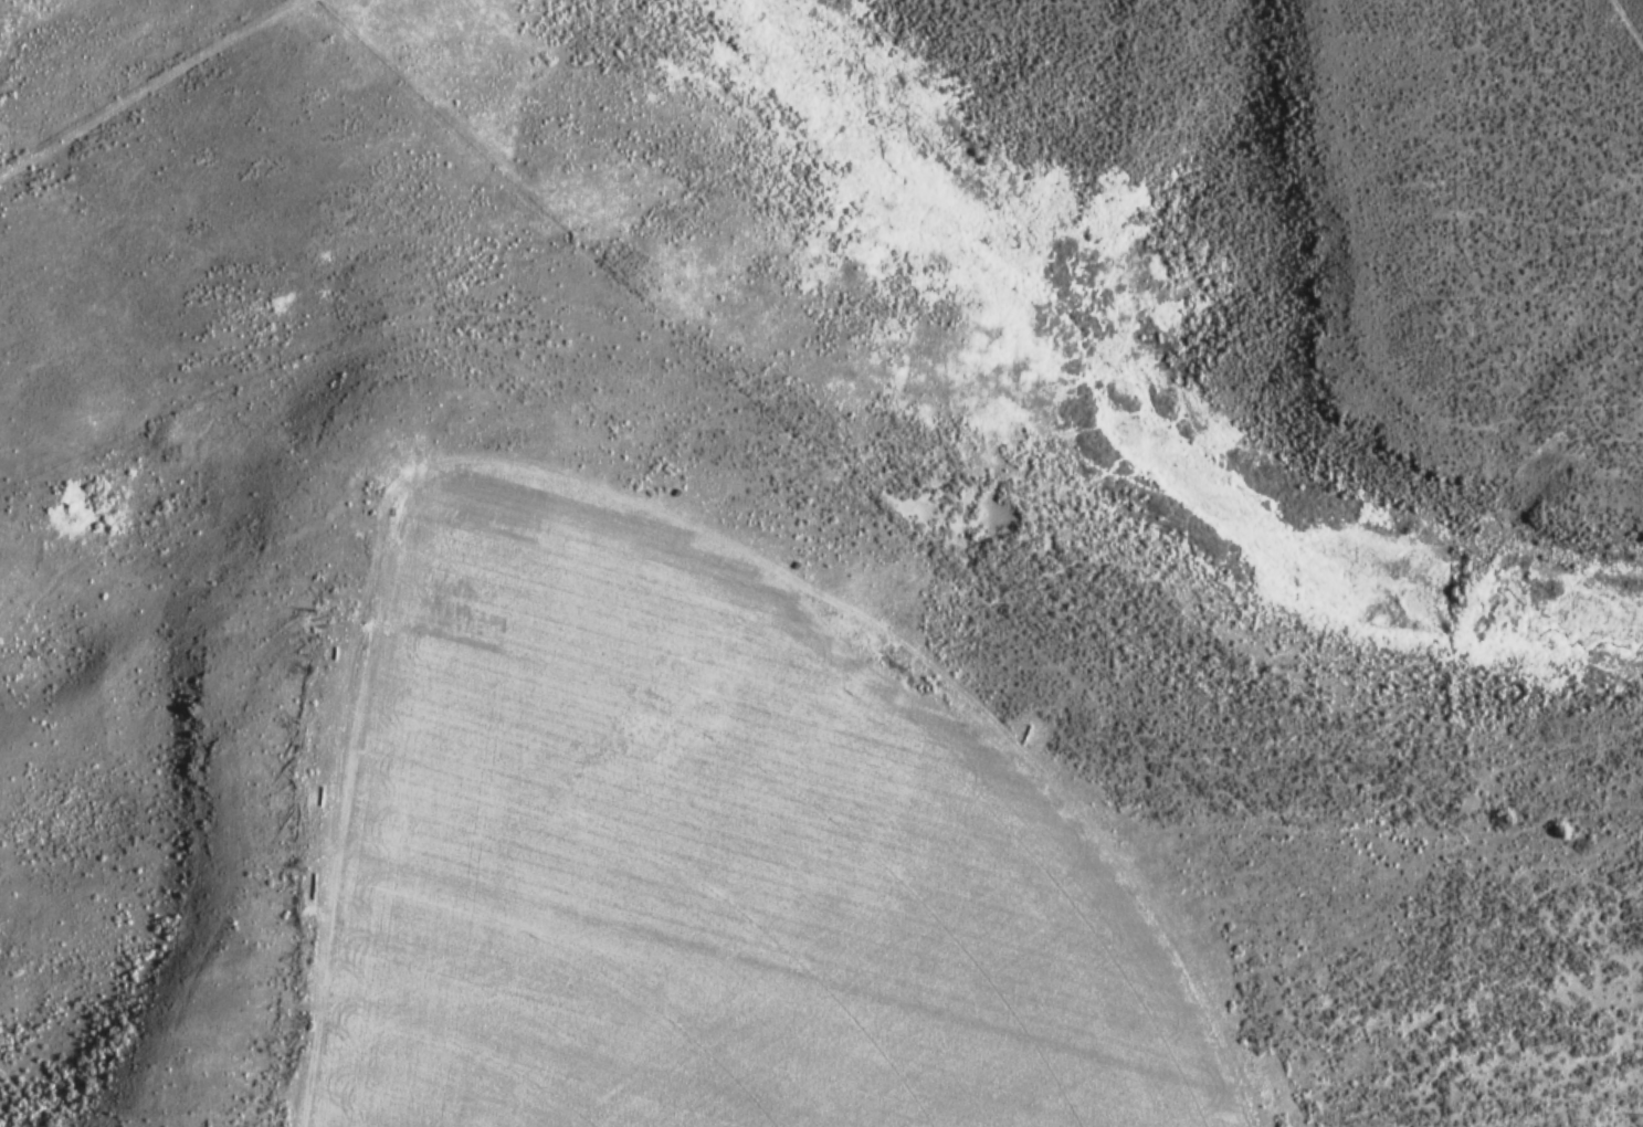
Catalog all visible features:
crop: (715, 874)

